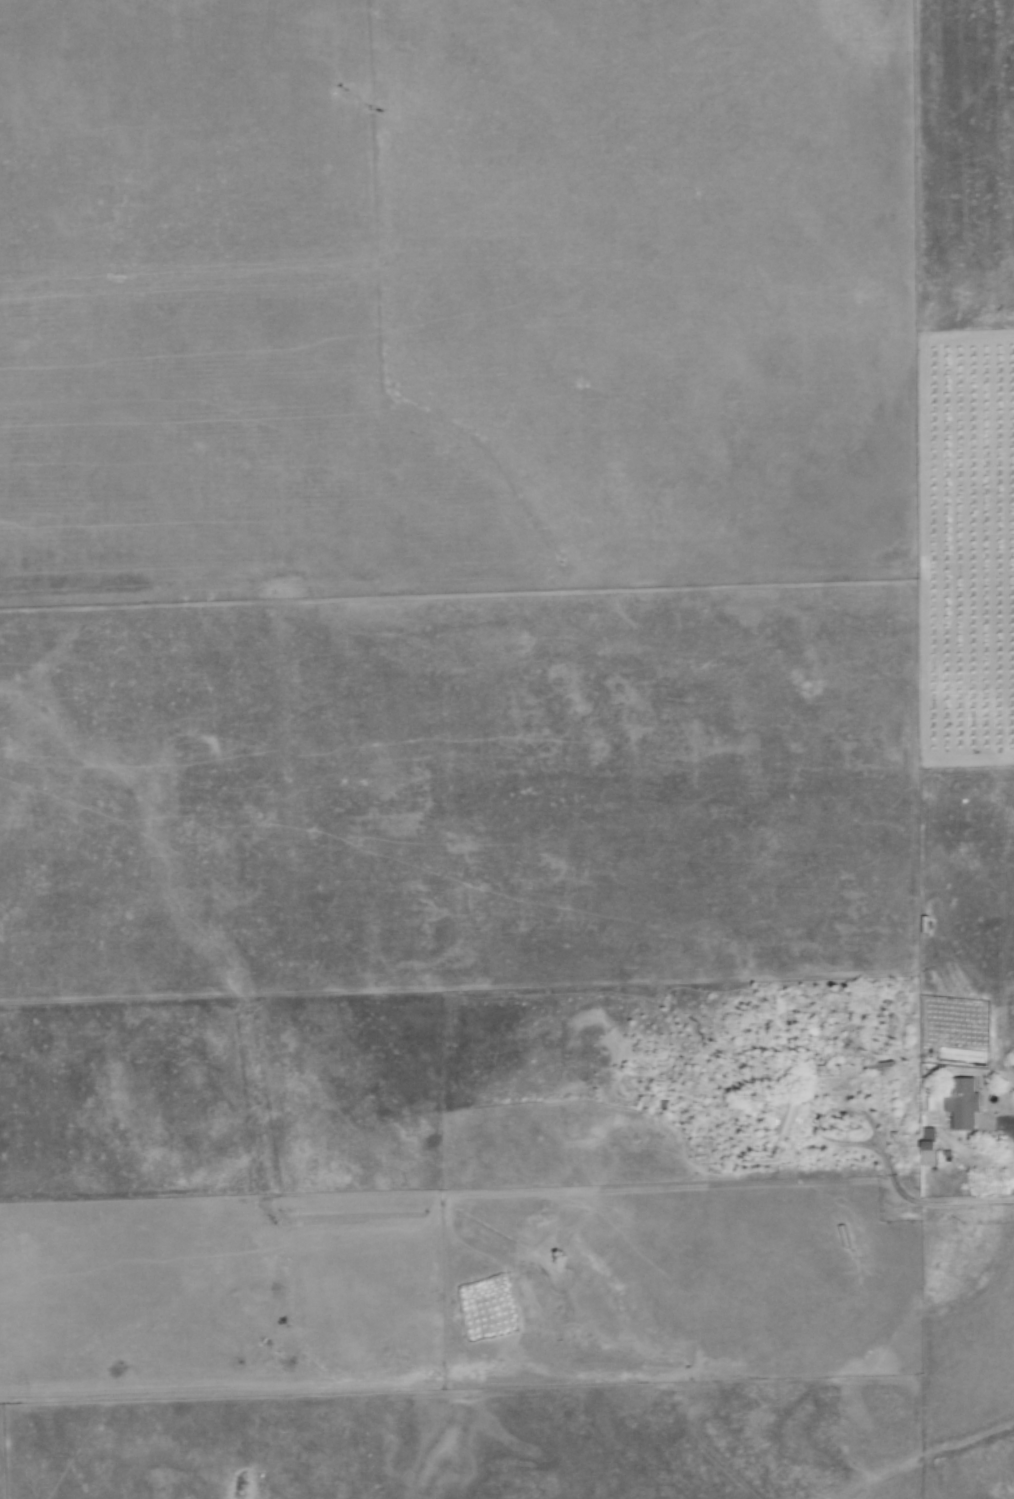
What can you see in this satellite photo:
building: (879, 1058)
building: (828, 1071)
building: (964, 1104)
building: (789, 1118)
road: (1010, 1121)
building: (929, 1135)
building: (929, 1154)

